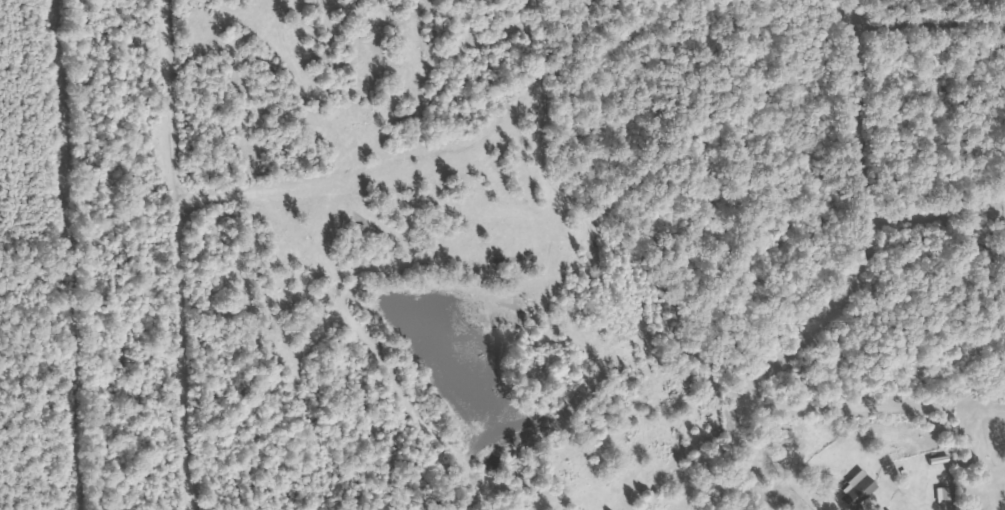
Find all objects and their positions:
road: (938, 20)
road: (184, 99)
road: (417, 159)
road: (841, 307)
road: (189, 355)
road: (896, 407)
building: (857, 492)

